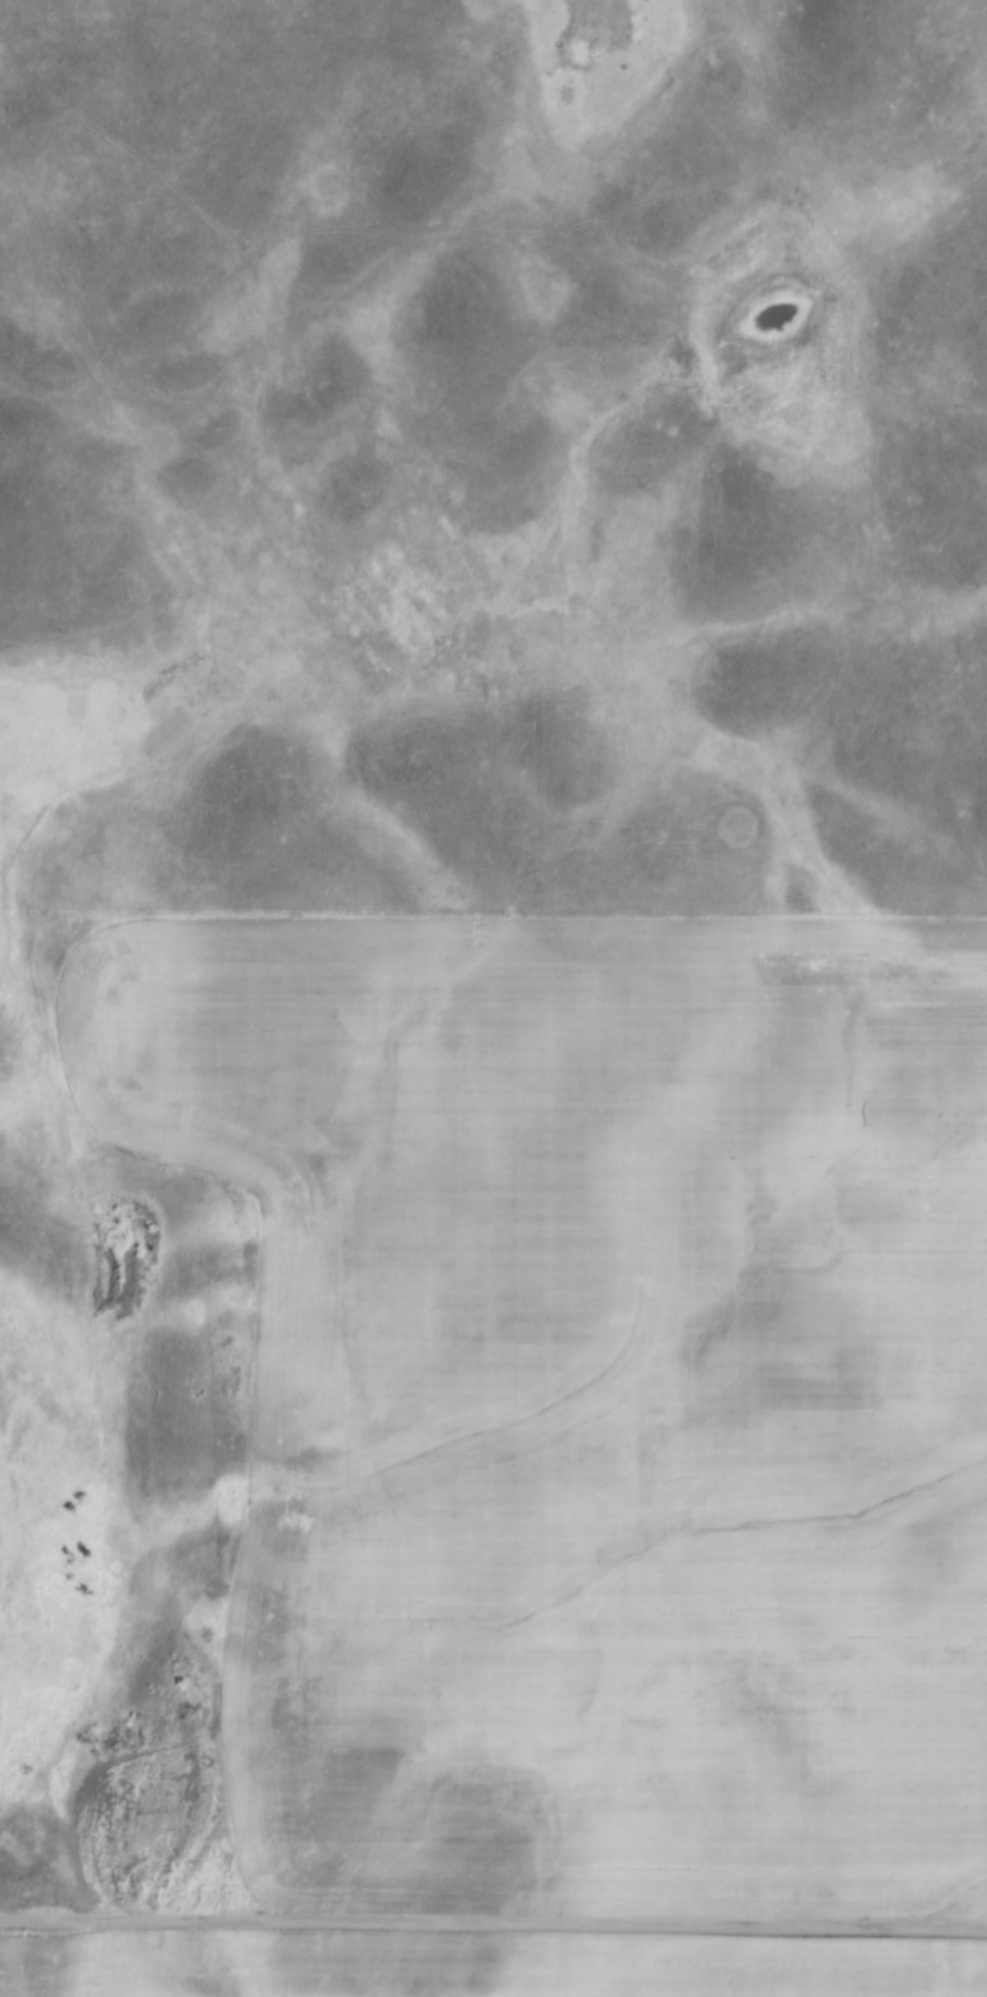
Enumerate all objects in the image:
road: (493, 1922)

